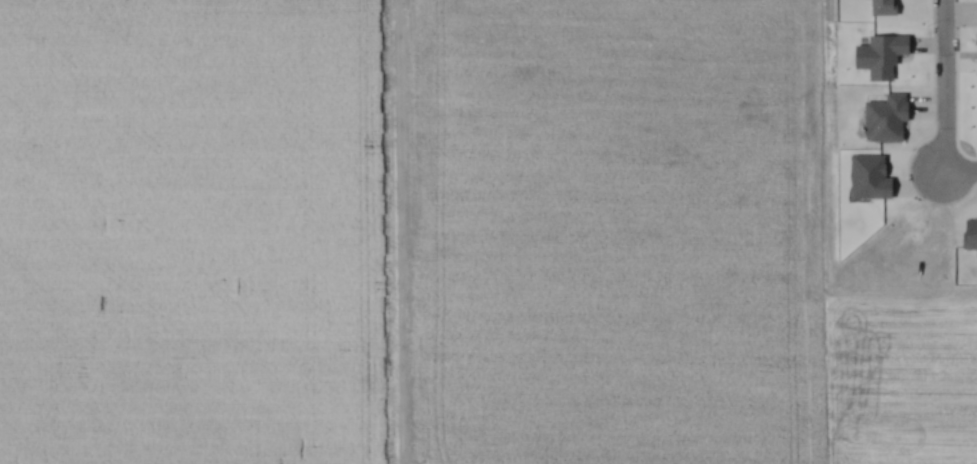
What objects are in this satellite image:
building: (879, 8)
road: (955, 12)
road: (929, 43)
building: (876, 53)
road: (943, 86)
building: (880, 116)
road: (961, 172)
building: (865, 176)
crop: (188, 232)
building: (968, 235)

